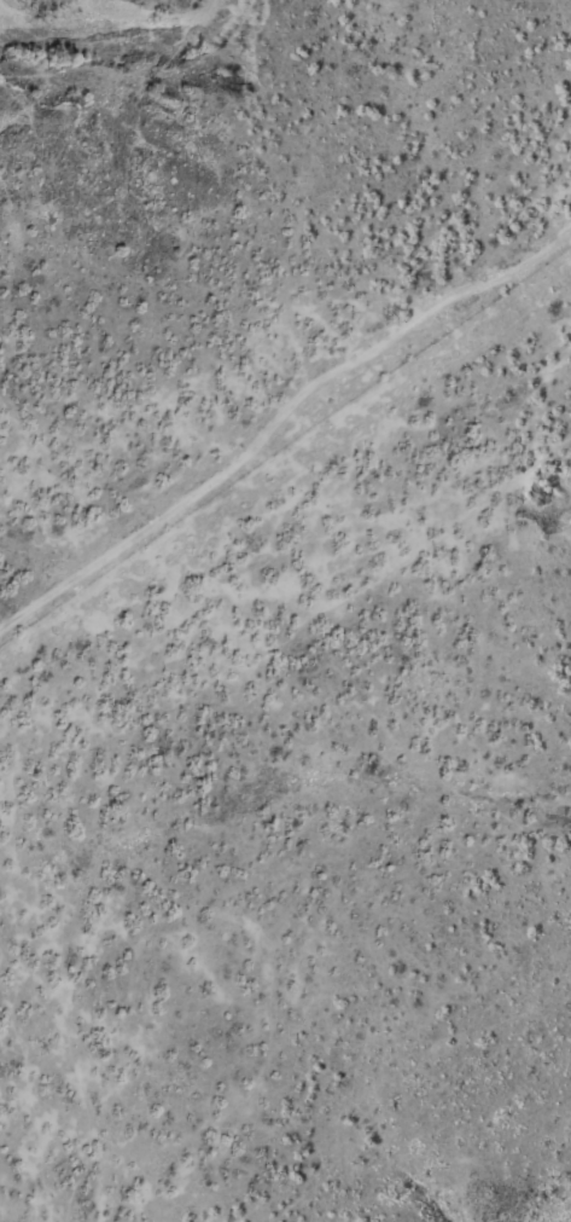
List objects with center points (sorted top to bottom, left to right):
road: (295, 402)

